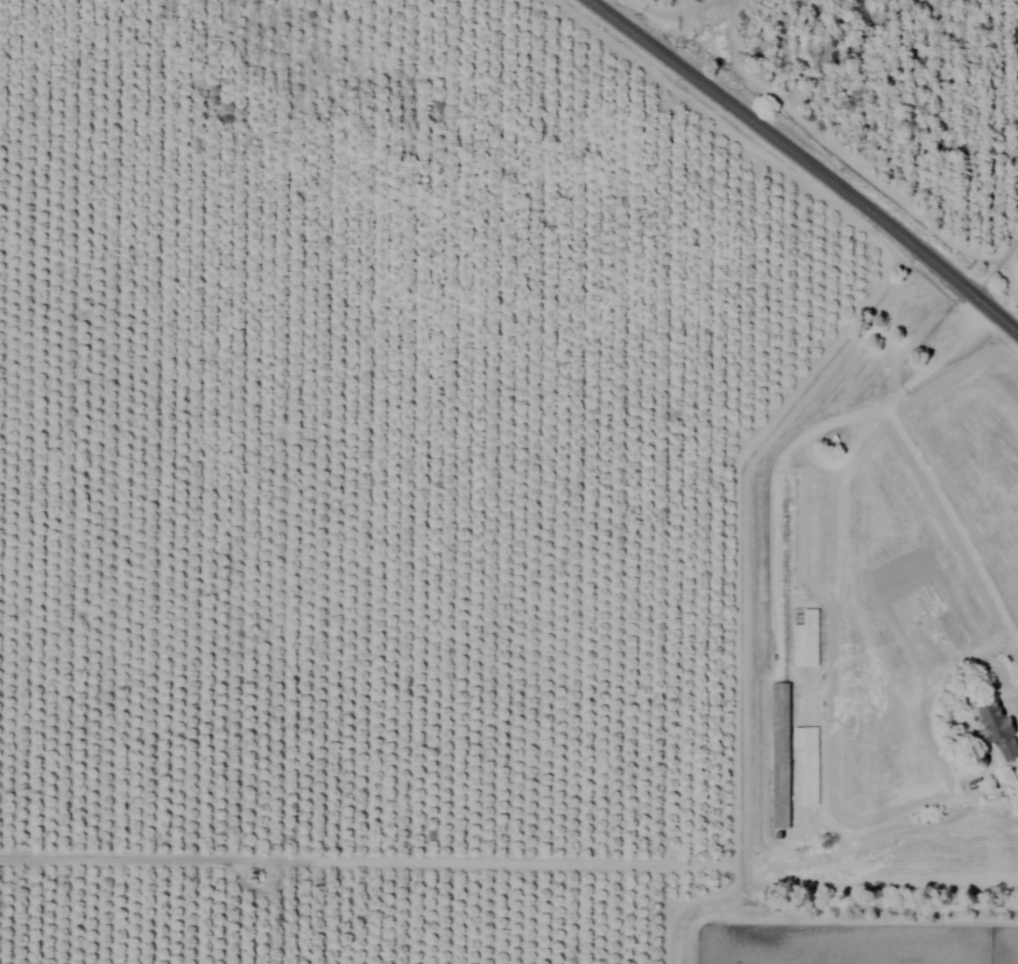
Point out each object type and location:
road: (809, 160)
railway: (772, 186)
road: (998, 265)
crop: (365, 481)
building: (808, 640)
building: (1000, 730)
building: (781, 755)
building: (806, 765)

